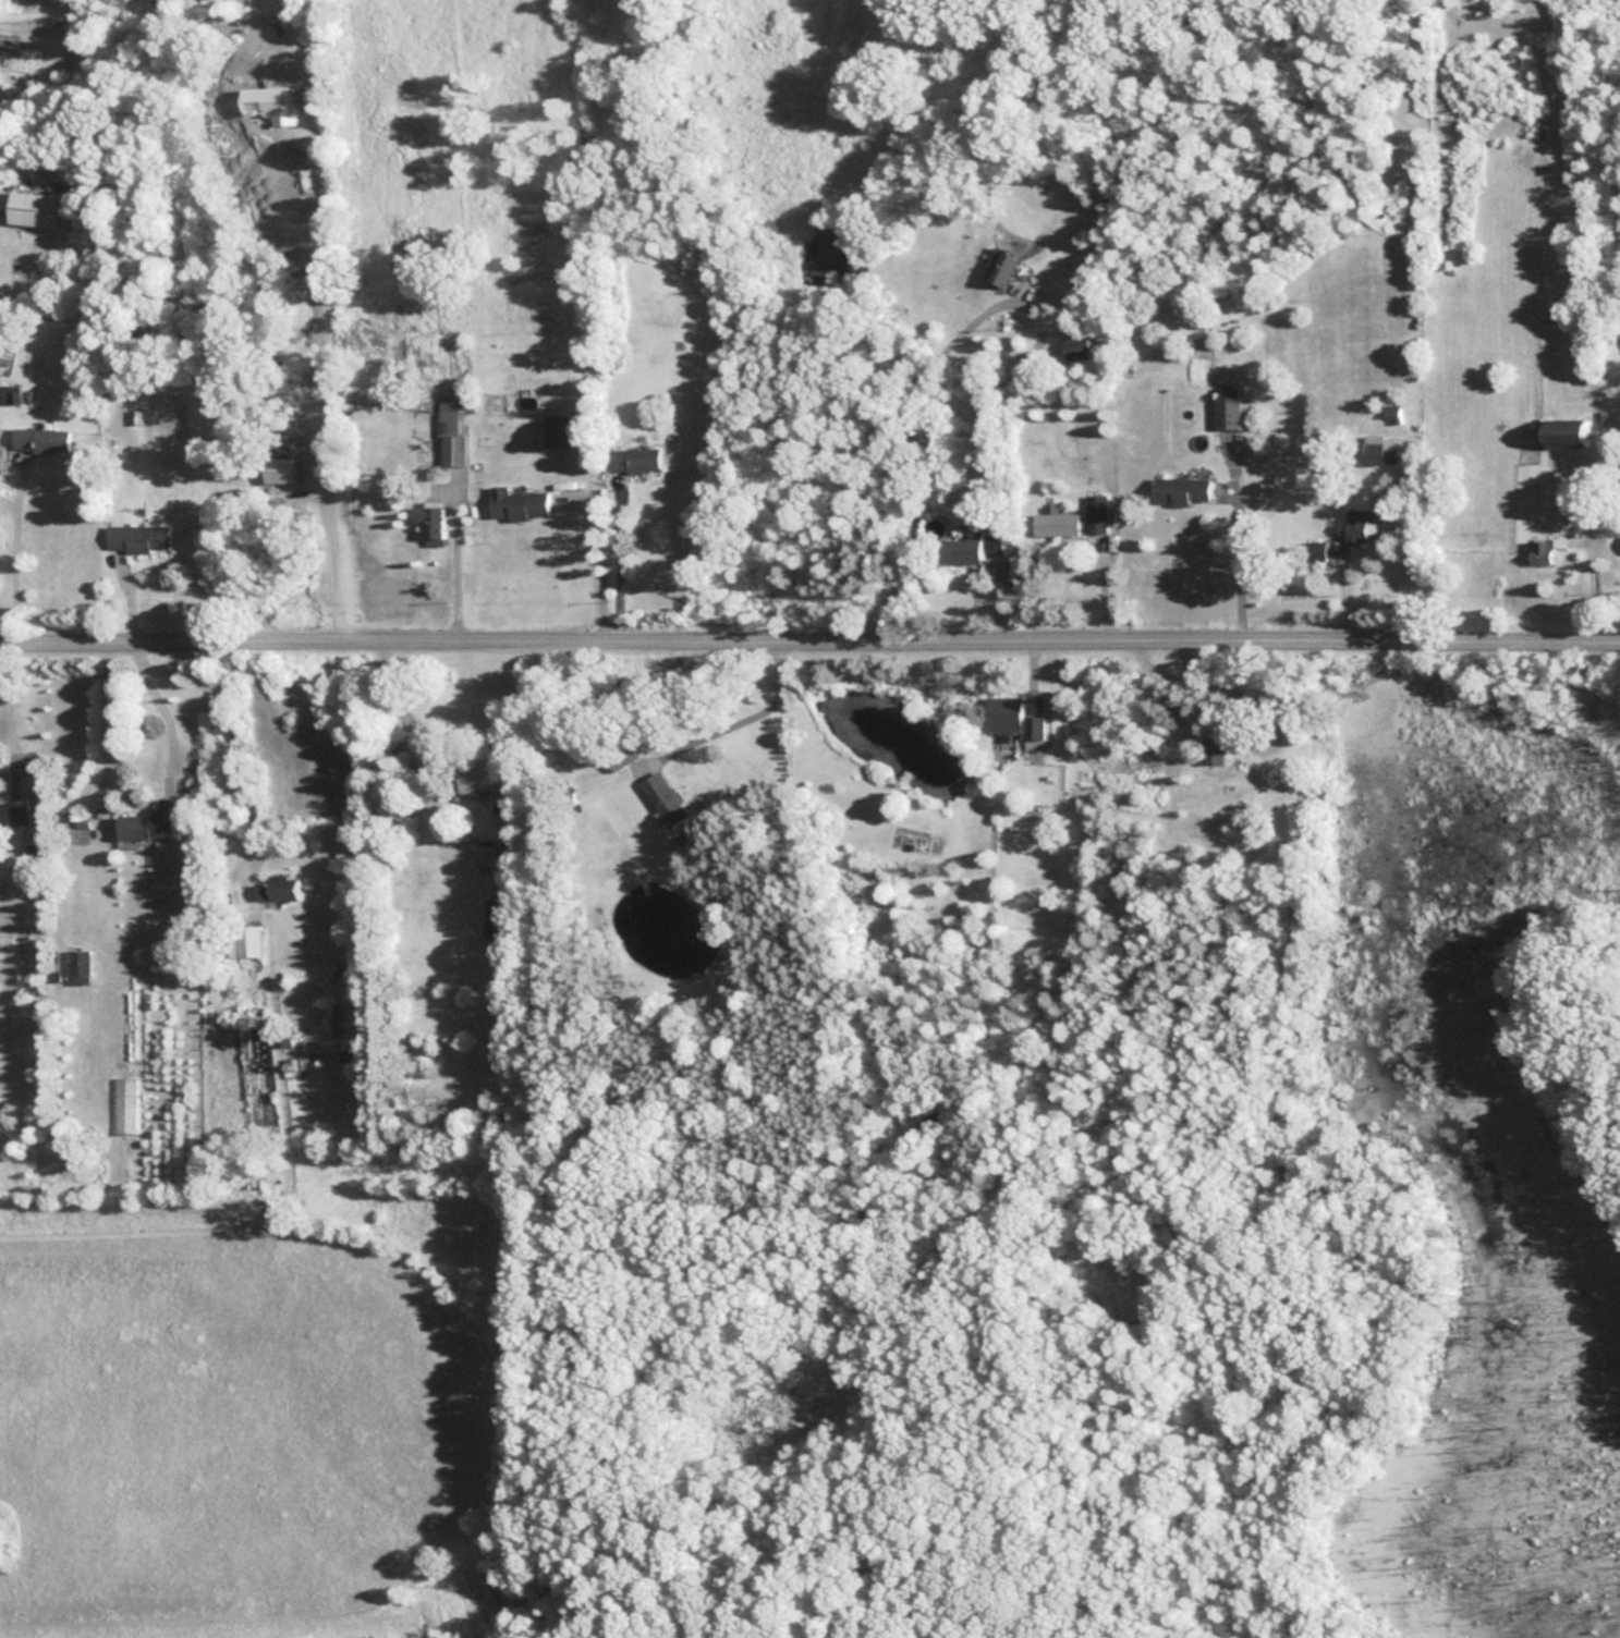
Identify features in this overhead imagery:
building: (33, 209)
building: (999, 267)
building: (1075, 347)
building: (490, 400)
building: (1226, 407)
building: (553, 429)
building: (450, 431)
building: (1563, 432)
building: (38, 440)
building: (1375, 450)
building: (632, 459)
building: (281, 484)
building: (1180, 490)
building: (515, 503)
building: (1095, 513)
building: (426, 523)
building: (1055, 524)
building: (1359, 525)
building: (135, 539)
building: (965, 550)
building: (1314, 550)
road: (326, 551)
building: (1539, 552)
road: (8, 553)
road: (809, 640)
road: (743, 702)
building: (999, 714)
road: (229, 734)
building: (619, 755)
building: (482, 779)
building: (661, 798)
building: (17, 811)
building: (150, 821)
building: (275, 887)
building: (496, 919)
building: (242, 940)
building: (73, 963)

